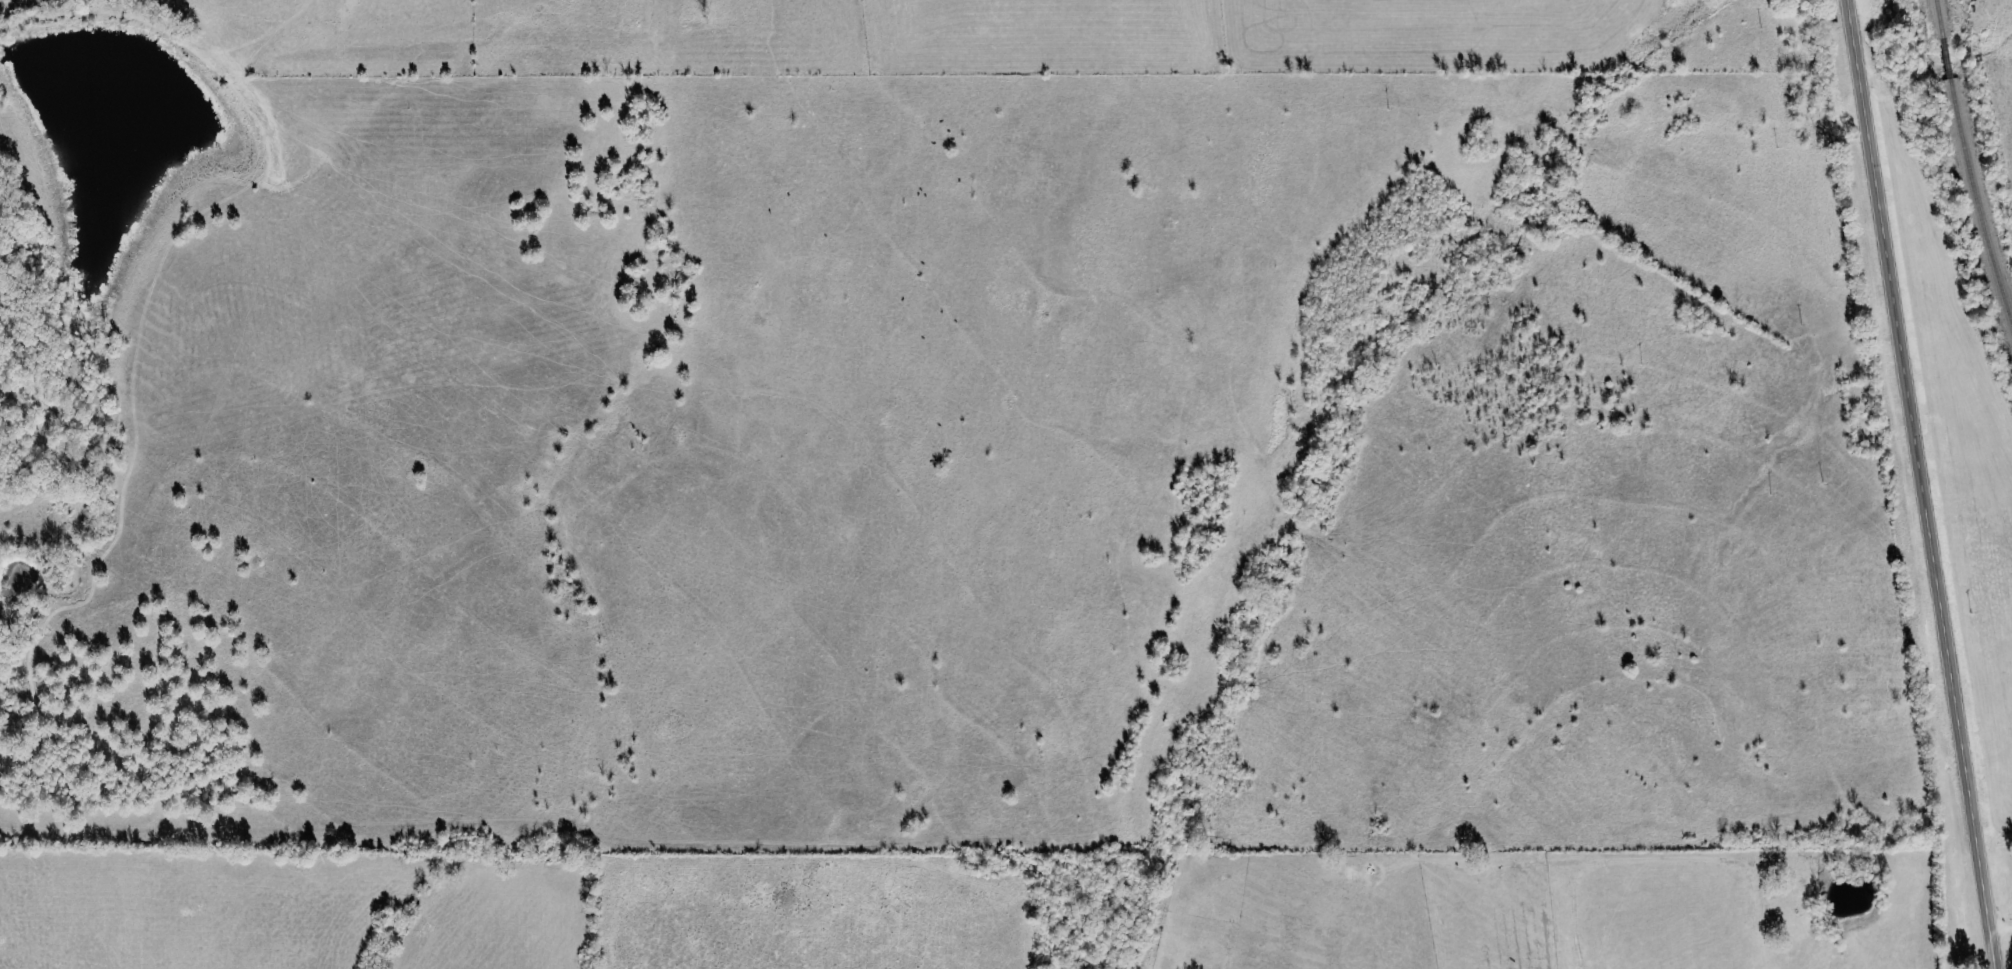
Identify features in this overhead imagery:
railway: (1966, 169)
road: (1920, 484)

